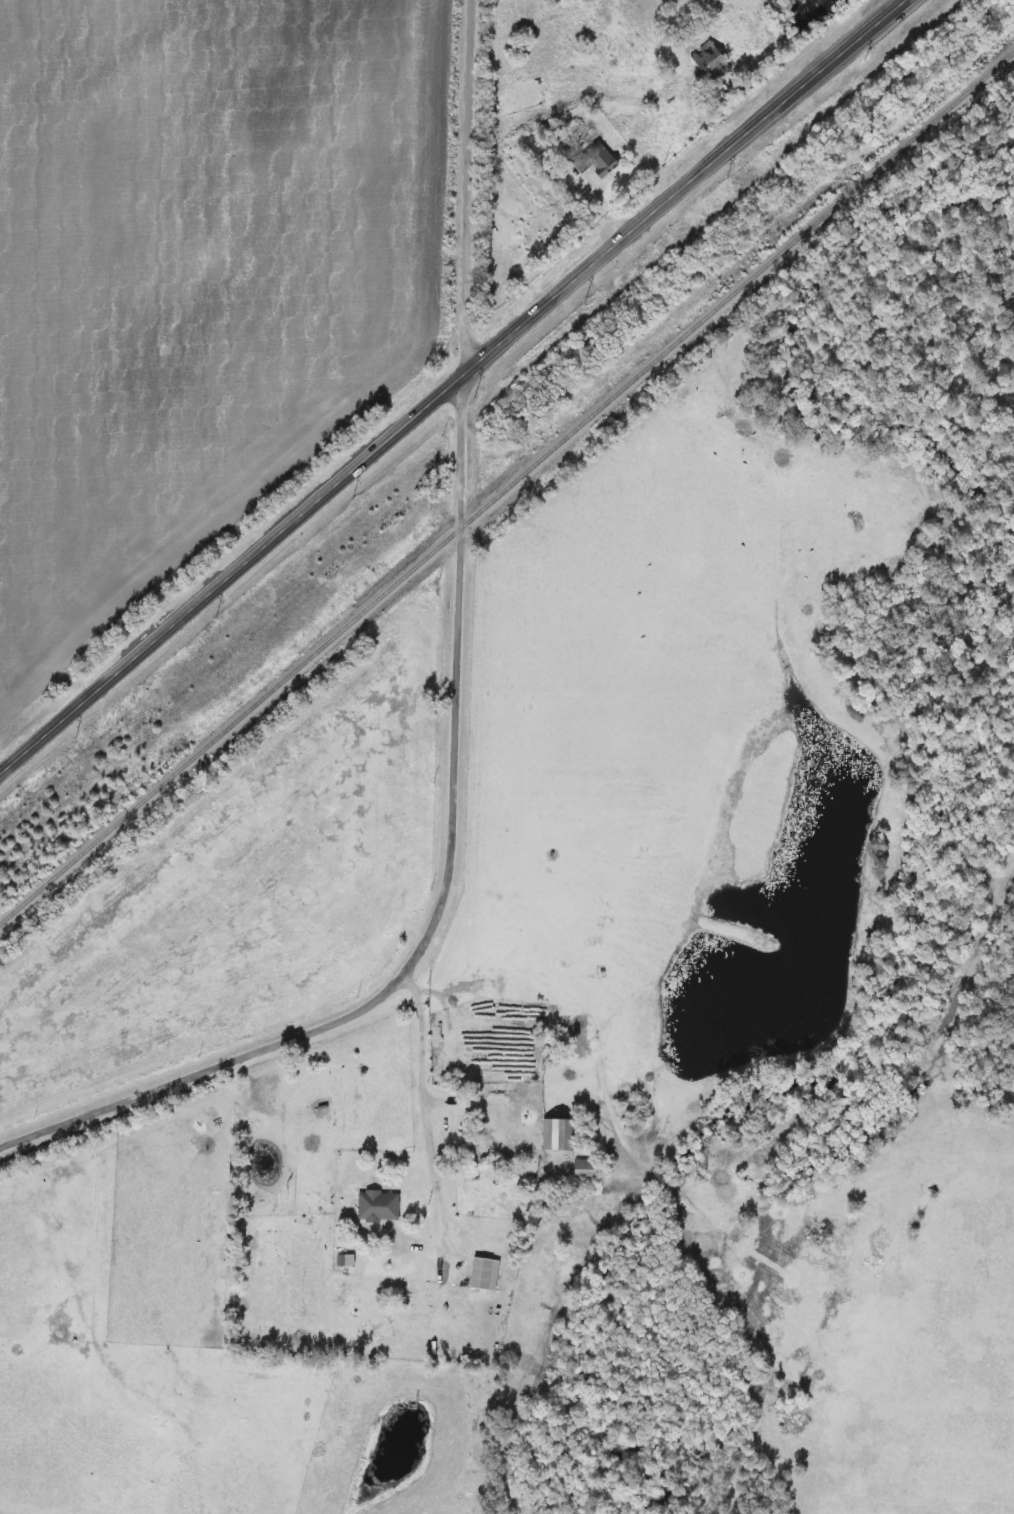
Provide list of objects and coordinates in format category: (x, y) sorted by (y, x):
building: (605, 167)
power tower: (723, 185)
road: (465, 187)
road: (452, 386)
railway: (506, 488)
power tower: (352, 504)
power tower: (217, 618)
road: (439, 897)
road: (425, 1106)
building: (556, 1135)
building: (377, 1207)
building: (482, 1275)

